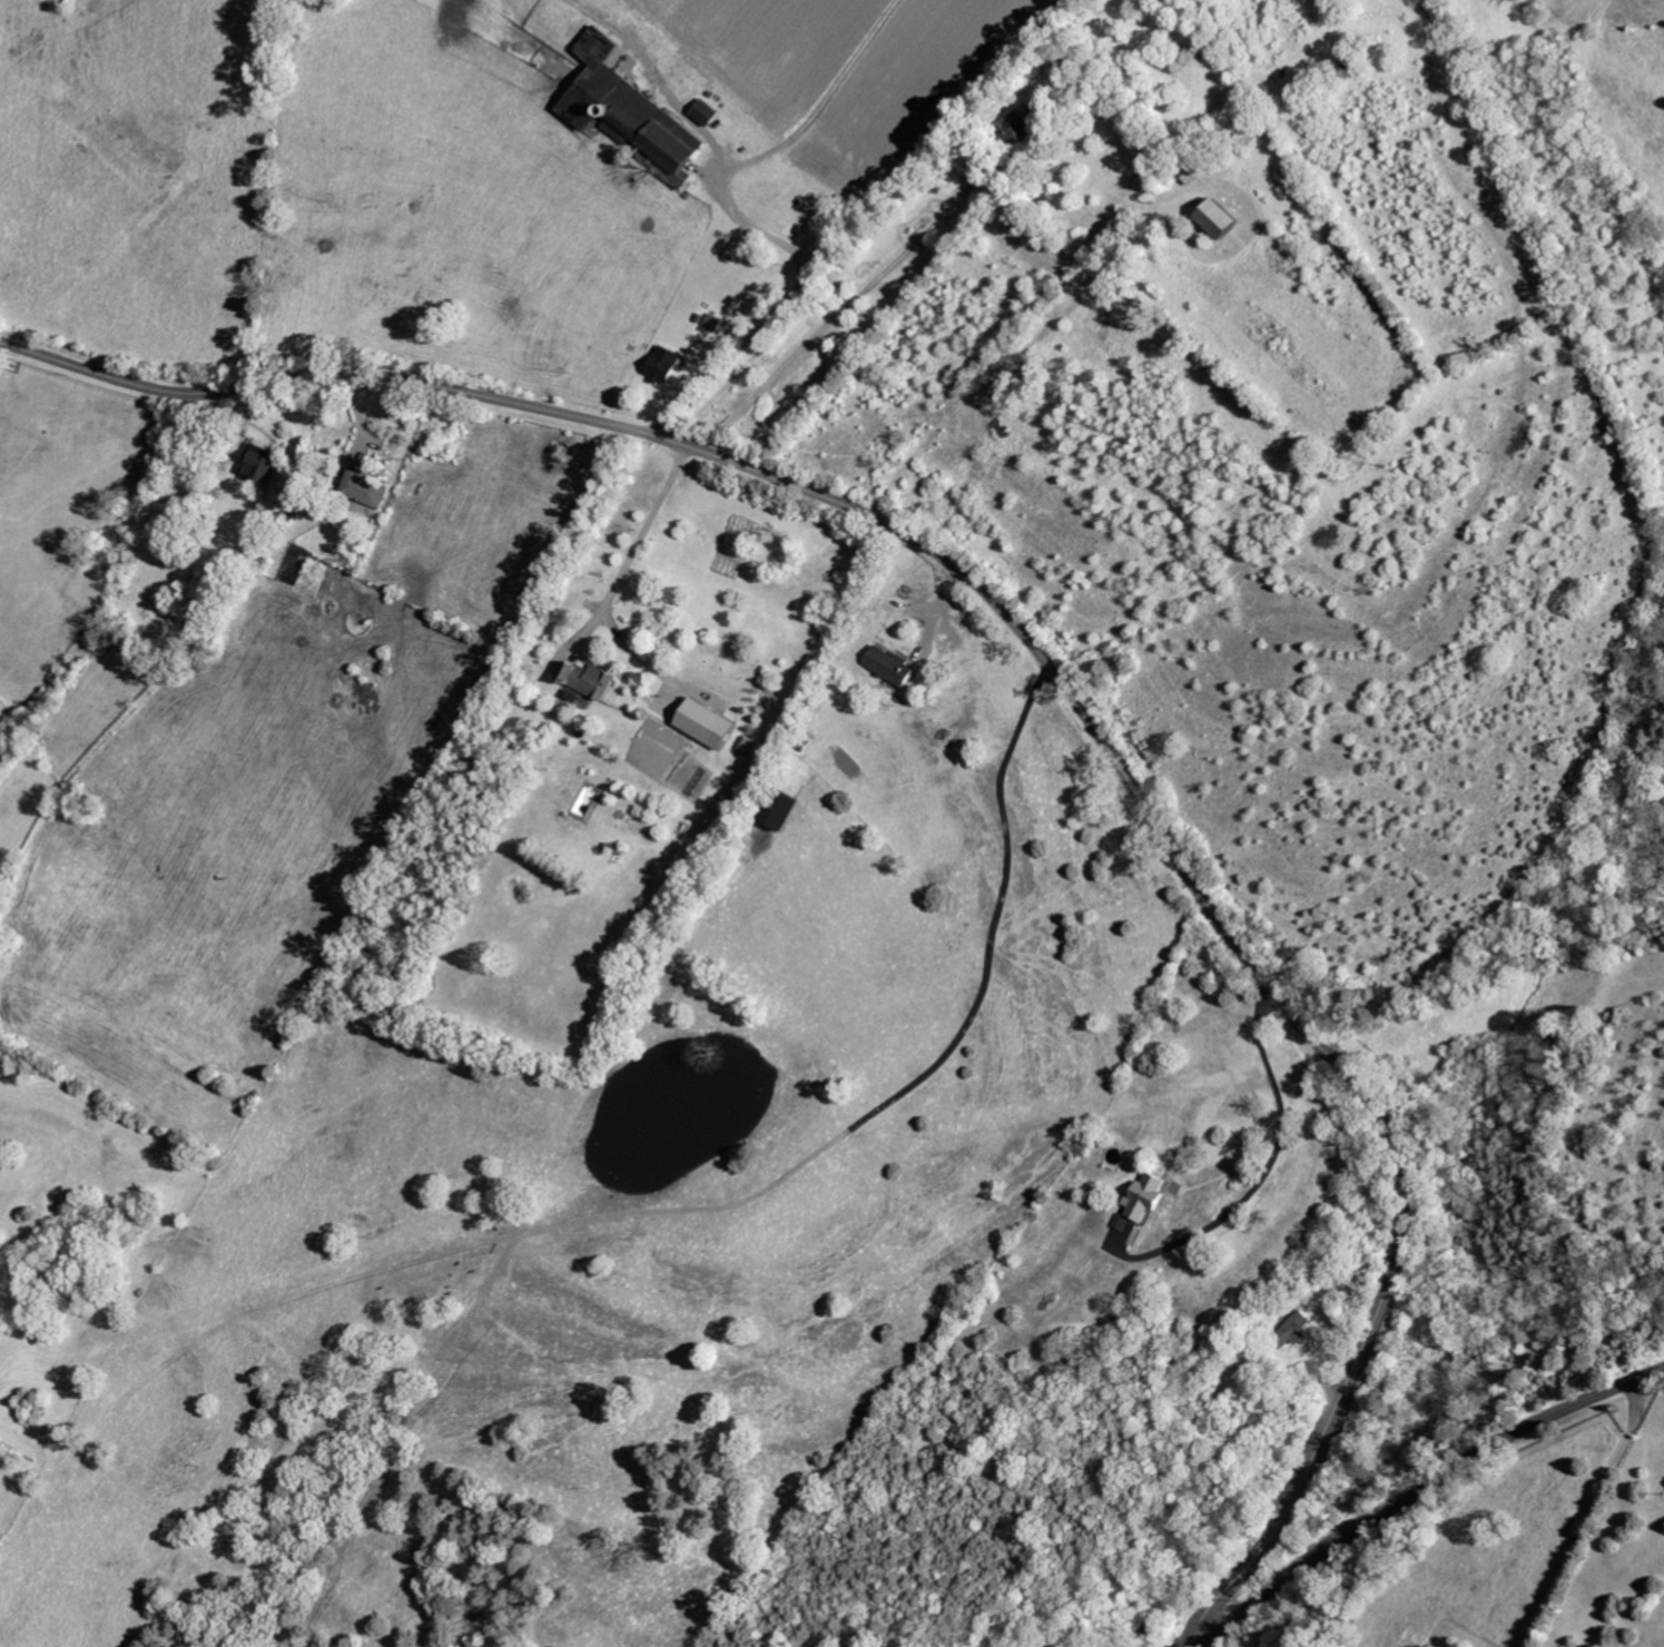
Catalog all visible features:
building: (707, 114)
building: (1022, 128)
building: (1221, 220)
road: (741, 226)
road: (840, 312)
road: (1016, 353)
building: (668, 365)
building: (262, 467)
building: (365, 490)
road: (637, 543)
road: (934, 618)
road: (647, 665)
building: (893, 667)
road: (1053, 673)
building: (589, 683)
building: (708, 726)
building: (782, 812)
road: (1260, 1178)
building: (1149, 1200)
building: (1124, 1224)
building: (1296, 1332)
road: (1422, 1491)
road: (1589, 1517)

